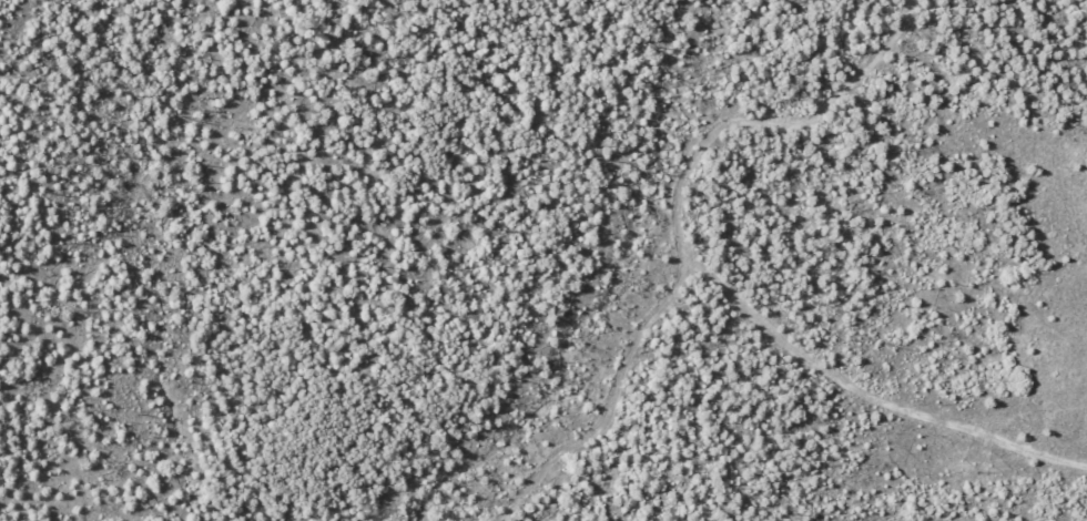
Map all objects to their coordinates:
park: (543, 260)

